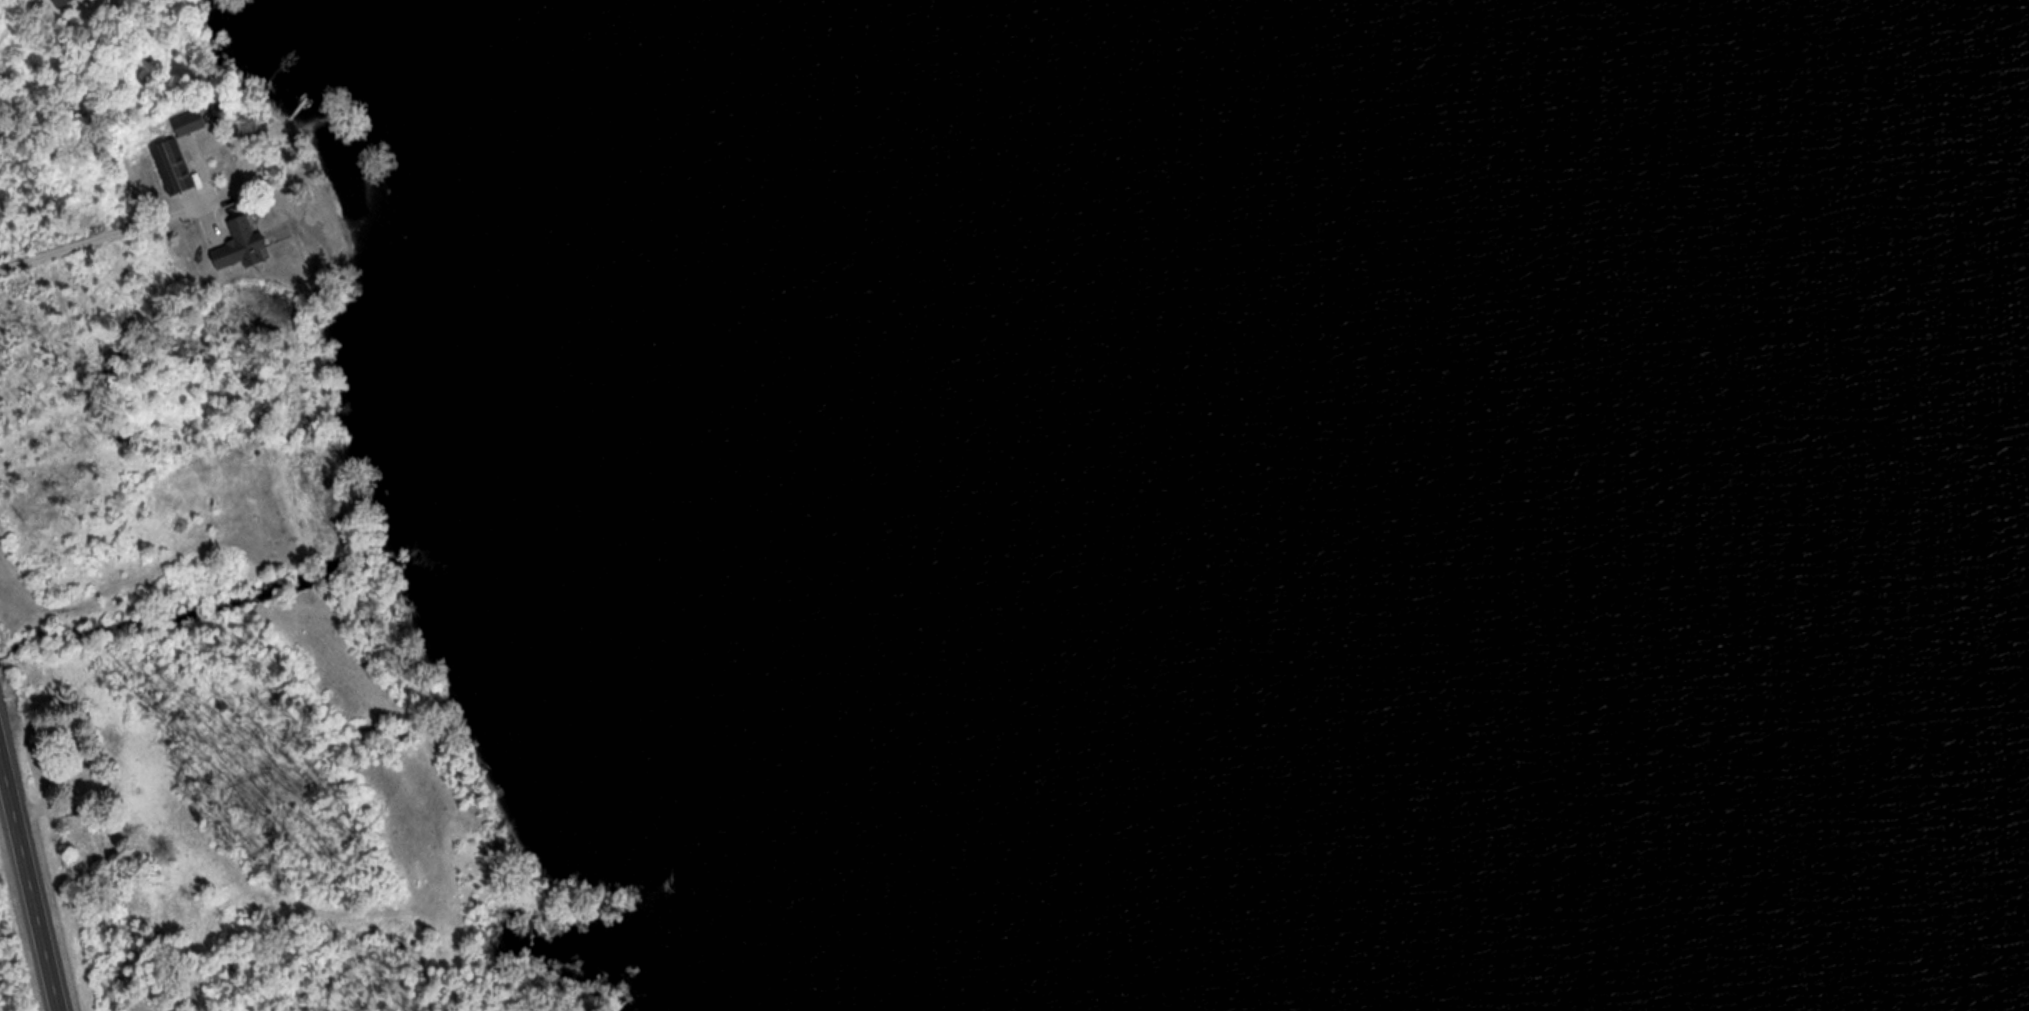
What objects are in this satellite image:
building: (65, 3)
building: (175, 168)
building: (243, 245)
park: (75, 763)
road: (30, 886)

